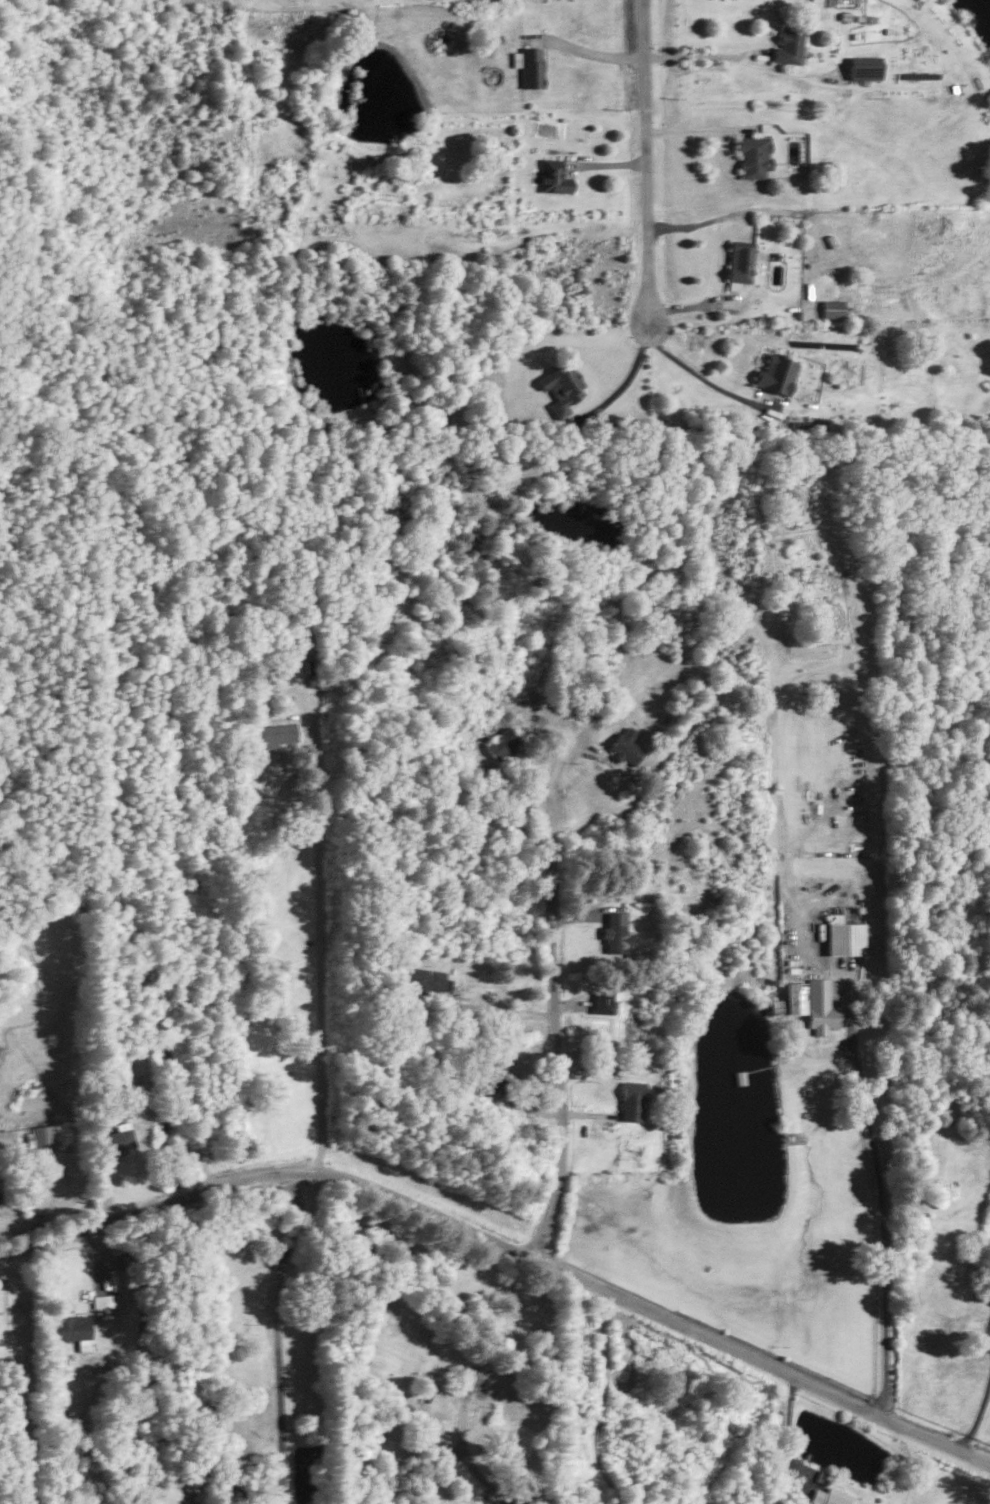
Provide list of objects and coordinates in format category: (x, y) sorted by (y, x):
building: (789, 44)
road: (595, 54)
road: (700, 54)
building: (531, 67)
building: (864, 67)
building: (754, 156)
road: (647, 161)
building: (553, 176)
building: (740, 263)
building: (832, 308)
road: (696, 369)
road: (631, 374)
building: (777, 374)
building: (561, 388)
building: (805, 424)
building: (820, 424)
building: (273, 735)
building: (501, 743)
building: (625, 746)
building: (616, 934)
building: (844, 936)
road: (319, 956)
building: (426, 980)
building: (789, 1000)
building: (603, 1001)
building: (821, 1007)
road: (557, 1032)
building: (495, 1083)
building: (633, 1100)
building: (41, 1137)
building: (120, 1138)
road: (886, 1214)
road: (122, 1215)
road: (236, 1236)
road: (621, 1296)
building: (104, 1300)
building: (75, 1330)
road: (276, 1334)
road: (25, 1375)
road: (472, 1379)
road: (599, 1399)
road: (977, 1414)
building: (829, 1496)
building: (197, 1497)

